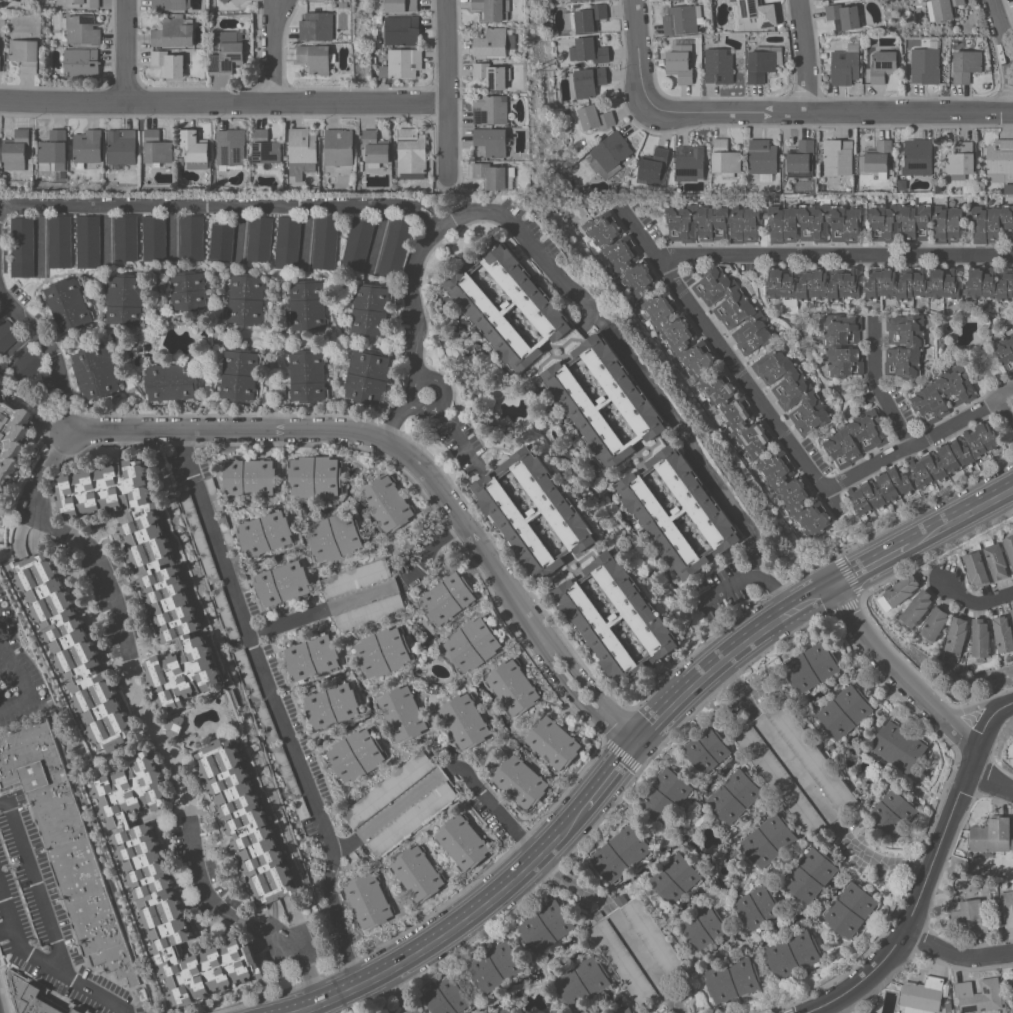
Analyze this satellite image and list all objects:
building: (575, 0)
building: (225, 1)
building: (171, 4)
building: (91, 5)
building: (400, 5)
building: (945, 8)
building: (493, 9)
building: (754, 14)
building: (846, 15)
building: (586, 18)
building: (683, 19)
building: (317, 26)
building: (81, 29)
building: (402, 30)
building: (175, 32)
road: (1005, 32)
building: (496, 43)
road: (127, 50)
road: (281, 50)
building: (589, 50)
building: (227, 53)
building: (26, 54)
road: (640, 55)
road: (807, 55)
building: (317, 57)
building: (0, 60)
building: (680, 62)
building: (763, 62)
building: (81, 63)
building: (169, 63)
building: (402, 63)
building: (926, 63)
building: (846, 64)
building: (719, 65)
building: (966, 65)
building: (884, 66)
building: (493, 74)
building: (586, 82)
road: (449, 86)
road: (224, 101)
building: (491, 109)
road: (834, 112)
building: (595, 117)
building: (493, 141)
building: (122, 146)
building: (194, 146)
building: (231, 146)
building: (87, 147)
building: (339, 147)
building: (156, 148)
building: (265, 148)
building: (375, 148)
building: (16, 150)
building: (54, 150)
building: (302, 152)
building: (411, 153)
building: (610, 154)
building: (763, 156)
building: (877, 156)
building: (918, 156)
building: (725, 157)
building: (838, 157)
building: (801, 159)
building: (961, 159)
building: (999, 159)
building: (690, 162)
building: (653, 166)
building: (493, 174)
road: (212, 203)
road: (437, 217)
building: (814, 223)
building: (939, 223)
road: (437, 232)
road: (304, 234)
building: (154, 237)
building: (192, 238)
building: (260, 238)
building: (88, 240)
building: (126, 240)
building: (60, 241)
building: (222, 242)
building: (287, 242)
building: (325, 242)
building: (358, 243)
building: (22, 247)
building: (395, 247)
road: (837, 255)
building: (939, 283)
building: (812, 285)
building: (189, 291)
building: (246, 299)
building: (125, 300)
building: (68, 304)
building: (507, 305)
building: (307, 306)
building: (370, 309)
building: (7, 334)
road: (41, 339)
building: (940, 339)
building: (843, 345)
building: (915, 347)
building: (775, 350)
building: (1005, 351)
building: (26, 366)
building: (0, 371)
building: (96, 371)
building: (697, 374)
building: (239, 375)
building: (307, 376)
building: (367, 376)
building: (1, 381)
building: (171, 382)
road: (879, 387)
building: (960, 394)
road: (1010, 396)
building: (604, 400)
road: (68, 414)
road: (446, 425)
road: (785, 434)
road: (688, 438)
building: (873, 438)
building: (12, 440)
road: (187, 453)
road: (418, 463)
road: (48, 467)
building: (924, 469)
building: (315, 476)
building: (250, 477)
building: (387, 503)
road: (975, 508)
building: (533, 512)
building: (678, 512)
building: (220, 515)
road: (19, 526)
building: (265, 533)
building: (199, 535)
building: (335, 536)
building: (1009, 546)
road: (885, 556)
building: (996, 561)
road: (102, 567)
building: (975, 567)
building: (240, 572)
building: (149, 573)
building: (356, 577)
building: (283, 583)
road: (736, 588)
building: (898, 592)
building: (447, 598)
road: (978, 601)
building: (914, 610)
road: (318, 611)
building: (1012, 612)
building: (225, 613)
building: (370, 613)
building: (616, 618)
building: (934, 624)
building: (1003, 634)
building: (955, 638)
building: (979, 640)
building: (473, 644)
building: (968, 647)
building: (72, 650)
building: (383, 652)
road: (728, 655)
building: (312, 656)
building: (811, 667)
road: (262, 670)
road: (21, 675)
building: (248, 675)
building: (513, 686)
road: (736, 686)
road: (918, 693)
building: (332, 705)
building: (844, 711)
building: (402, 713)
building: (465, 720)
building: (266, 722)
building: (174, 726)
road: (160, 735)
building: (553, 742)
building: (831, 746)
building: (899, 746)
building: (707, 750)
building: (826, 754)
building: (355, 755)
building: (286, 770)
building: (796, 770)
building: (520, 781)
road: (606, 782)
building: (388, 789)
building: (665, 795)
building: (734, 796)
road: (399, 802)
road: (492, 806)
building: (301, 808)
building: (893, 811)
building: (412, 818)
building: (246, 821)
building: (990, 835)
building: (768, 840)
road: (345, 842)
building: (463, 842)
building: (1012, 843)
building: (67, 845)
building: (621, 853)
building: (1012, 853)
building: (733, 855)
building: (353, 857)
road: (880, 863)
building: (572, 872)
road: (201, 873)
building: (417, 873)
road: (928, 873)
building: (810, 875)
building: (675, 877)
road: (568, 881)
building: (165, 888)
road: (40, 895)
building: (620, 899)
building: (368, 900)
building: (1007, 906)
building: (757, 907)
building: (850, 909)
building: (970, 914)
building: (597, 916)
road: (340, 923)
road: (295, 924)
building: (546, 926)
building: (703, 926)
road: (6, 929)
road: (268, 933)
road: (444, 934)
building: (639, 952)
building: (792, 953)
road: (956, 954)
road: (45, 963)
building: (495, 966)
road: (310, 977)
building: (732, 979)
building: (582, 982)
road: (396, 992)
building: (922, 995)
building: (32, 996)
building: (980, 996)
building: (447, 997)
road: (675, 1006)
building: (948, 1007)
building: (504, 1009)
building: (623, 1009)
building: (603, 1012)
building: (633, 1012)

